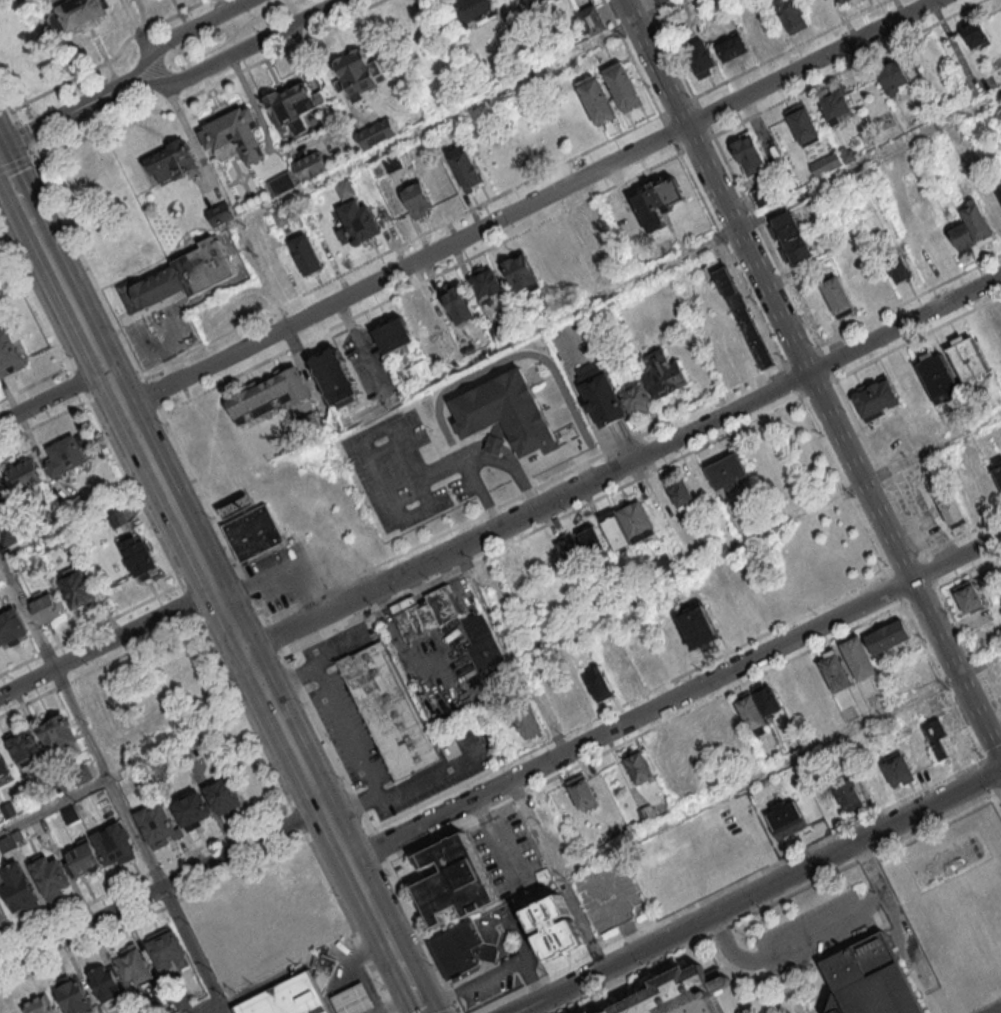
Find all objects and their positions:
building: (533, 1)
building: (842, 1)
building: (854, 1)
building: (660, 2)
building: (472, 8)
building: (819, 8)
building: (76, 14)
building: (792, 15)
building: (591, 20)
road: (136, 27)
building: (974, 30)
building: (731, 51)
building: (699, 58)
road: (112, 60)
building: (584, 62)
road: (651, 63)
road: (808, 63)
building: (357, 75)
building: (892, 75)
building: (996, 75)
road: (160, 83)
road: (212, 86)
building: (622, 86)
building: (597, 100)
road: (2, 103)
building: (294, 103)
building: (835, 104)
road: (7, 110)
road: (61, 117)
building: (803, 123)
building: (377, 131)
building: (233, 135)
road: (22, 136)
building: (847, 154)
building: (749, 156)
building: (172, 161)
building: (391, 163)
road: (17, 164)
building: (826, 164)
building: (309, 165)
building: (466, 166)
building: (152, 176)
building: (280, 181)
building: (344, 187)
road: (16, 189)
building: (999, 192)
building: (764, 194)
building: (417, 199)
building: (657, 200)
building: (992, 208)
building: (218, 214)
building: (355, 220)
building: (977, 221)
road: (39, 236)
building: (962, 236)
building: (792, 237)
building: (305, 253)
park: (8, 262)
road: (404, 266)
building: (897, 267)
building: (520, 271)
building: (181, 278)
building: (485, 282)
road: (36, 293)
building: (837, 297)
building: (458, 304)
road: (76, 310)
building: (421, 317)
building: (742, 317)
building: (999, 319)
building: (499, 332)
building: (393, 334)
building: (450, 352)
building: (9, 357)
building: (967, 359)
building: (415, 373)
building: (664, 373)
building: (936, 377)
building: (336, 378)
road: (81, 381)
road: (36, 383)
building: (295, 383)
road: (146, 385)
building: (279, 388)
building: (597, 394)
building: (266, 395)
road: (53, 396)
building: (637, 398)
building: (874, 399)
building: (253, 401)
building: (239, 408)
building: (504, 414)
road: (45, 421)
road: (342, 426)
road: (390, 428)
road: (841, 445)
road: (559, 453)
building: (66, 458)
road: (623, 462)
road: (509, 468)
building: (996, 468)
building: (728, 470)
parking lot: (423, 472)
building: (25, 479)
road: (136, 492)
building: (3, 493)
road: (523, 493)
building: (680, 494)
building: (69, 509)
building: (952, 510)
building: (118, 518)
building: (55, 521)
building: (637, 521)
road: (542, 525)
building: (614, 531)
building: (253, 533)
road: (757, 536)
building: (8, 537)
building: (591, 540)
building: (48, 544)
building: (570, 551)
building: (139, 557)
road: (1, 559)
building: (18, 563)
building: (662, 563)
road: (968, 568)
road: (281, 573)
building: (513, 576)
building: (78, 590)
building: (969, 595)
road: (190, 602)
building: (47, 609)
road: (28, 610)
building: (423, 611)
building: (697, 626)
building: (12, 629)
road: (90, 631)
building: (886, 636)
road: (275, 637)
building: (480, 641)
road: (106, 642)
road: (339, 647)
road: (245, 649)
road: (510, 649)
road: (967, 649)
building: (858, 658)
road: (98, 668)
building: (833, 670)
building: (598, 682)
parking lot: (328, 692)
road: (675, 697)
building: (766, 699)
building: (388, 709)
road: (244, 711)
building: (749, 713)
building: (522, 719)
road: (344, 728)
building: (933, 731)
road: (643, 733)
building: (61, 741)
road: (326, 744)
building: (24, 749)
building: (192, 754)
road: (990, 756)
building: (637, 765)
road: (779, 766)
building: (898, 768)
building: (4, 769)
road: (432, 774)
road: (987, 774)
building: (83, 776)
road: (109, 777)
building: (873, 780)
building: (144, 781)
building: (59, 786)
building: (580, 790)
building: (847, 793)
road: (998, 793)
building: (224, 798)
road: (55, 805)
building: (9, 812)
building: (192, 812)
building: (785, 818)
road: (298, 819)
road: (936, 821)
building: (159, 828)
building: (20, 837)
building: (8, 845)
building: (115, 846)
road: (377, 847)
road: (868, 854)
parking lot: (507, 855)
building: (84, 861)
road: (556, 874)
road: (144, 875)
building: (452, 878)
building: (51, 879)
road: (161, 886)
road: (725, 886)
building: (19, 890)
road: (758, 890)
parking lot: (605, 891)
road: (892, 904)
road: (877, 906)
road: (152, 913)
building: (3, 917)
road: (349, 925)
building: (553, 929)
parking lot: (813, 930)
road: (707, 934)
road: (421, 936)
building: (259, 940)
road: (791, 943)
road: (191, 944)
road: (392, 944)
building: (460, 949)
building: (167, 950)
road: (830, 953)
parking lot: (522, 954)
road: (907, 961)
building: (135, 968)
building: (325, 972)
road: (488, 976)
road: (760, 978)
building: (870, 981)
road: (410, 982)
building: (108, 986)
road: (927, 988)
building: (678, 995)
building: (74, 997)
building: (288, 999)
building: (355, 1001)
building: (183, 1003)
building: (40, 1006)
road: (208, 1007)
road: (222, 1007)
park: (991, 1008)
road: (424, 1009)
parking lot: (223, 1010)
road: (454, 1012)

